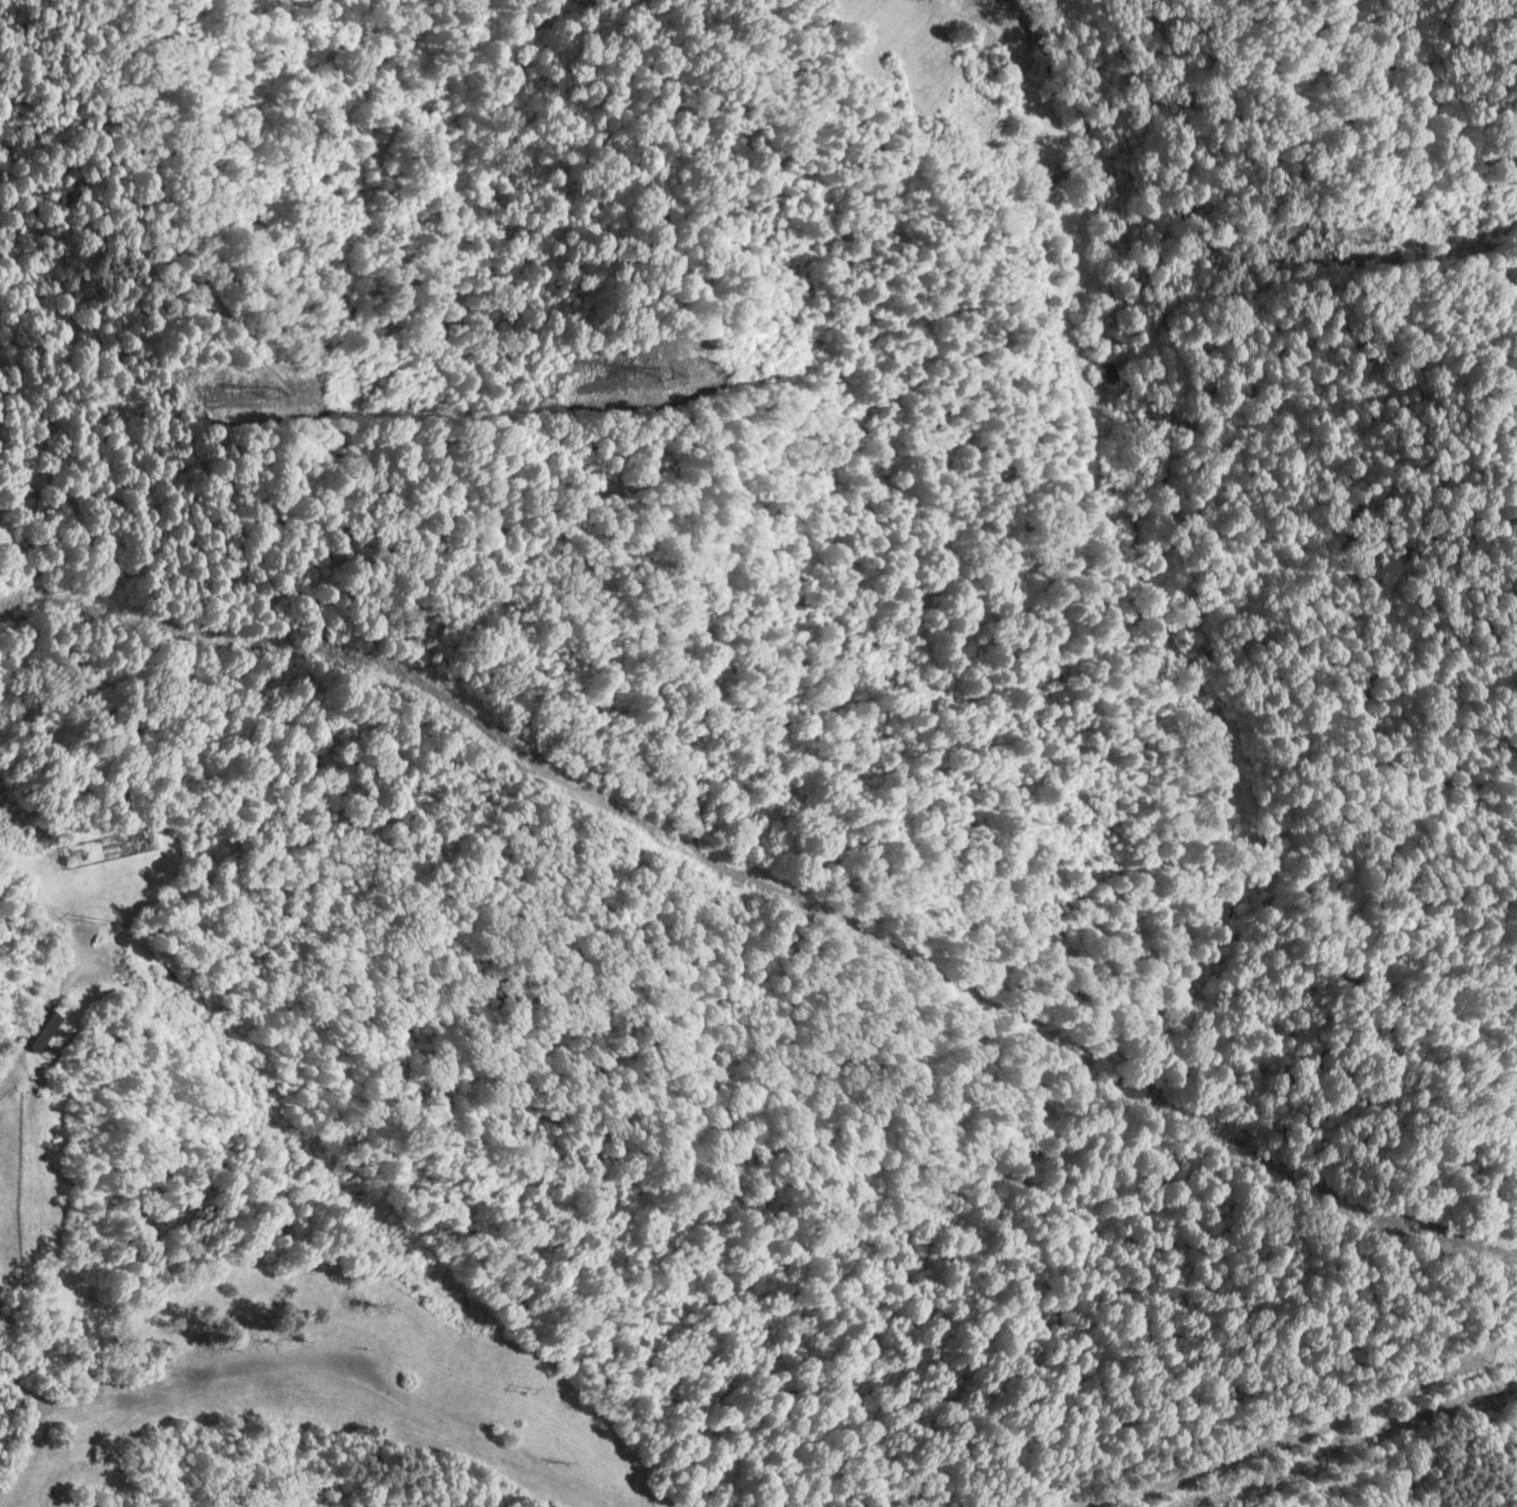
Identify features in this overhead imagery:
road: (1019, 21)
power tower: (1356, 239)
building: (1111, 371)
power tower: (667, 372)
power tower: (263, 395)
power tower: (93, 919)
building: (36, 1029)
power tower: (526, 1390)

